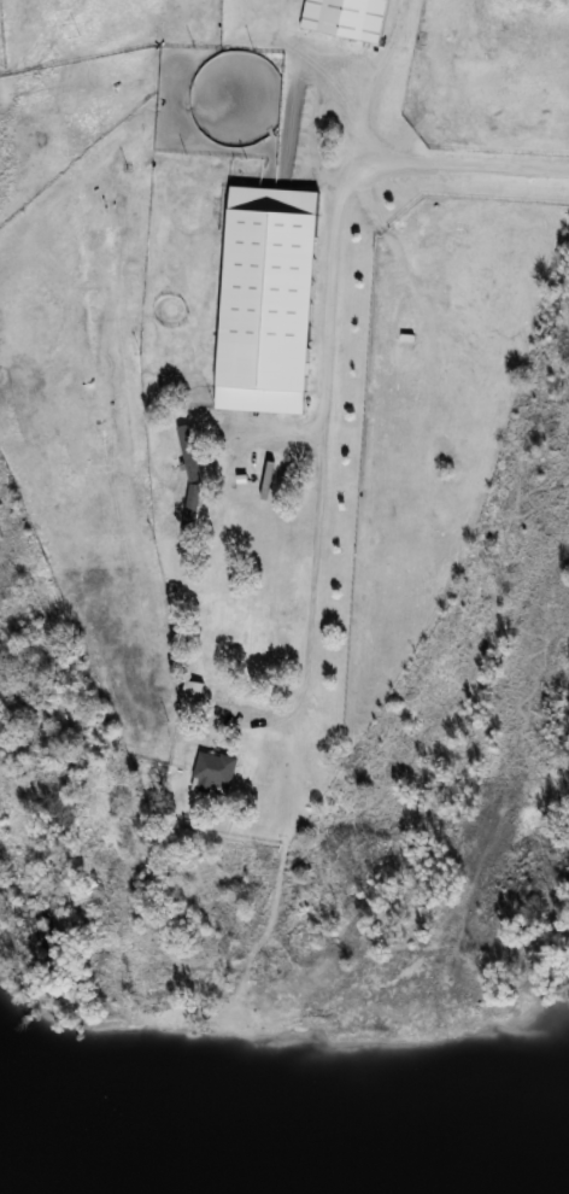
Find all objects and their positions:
building: (346, 18)
building: (269, 299)
road: (325, 364)
building: (190, 484)
building: (193, 691)
building: (216, 767)

